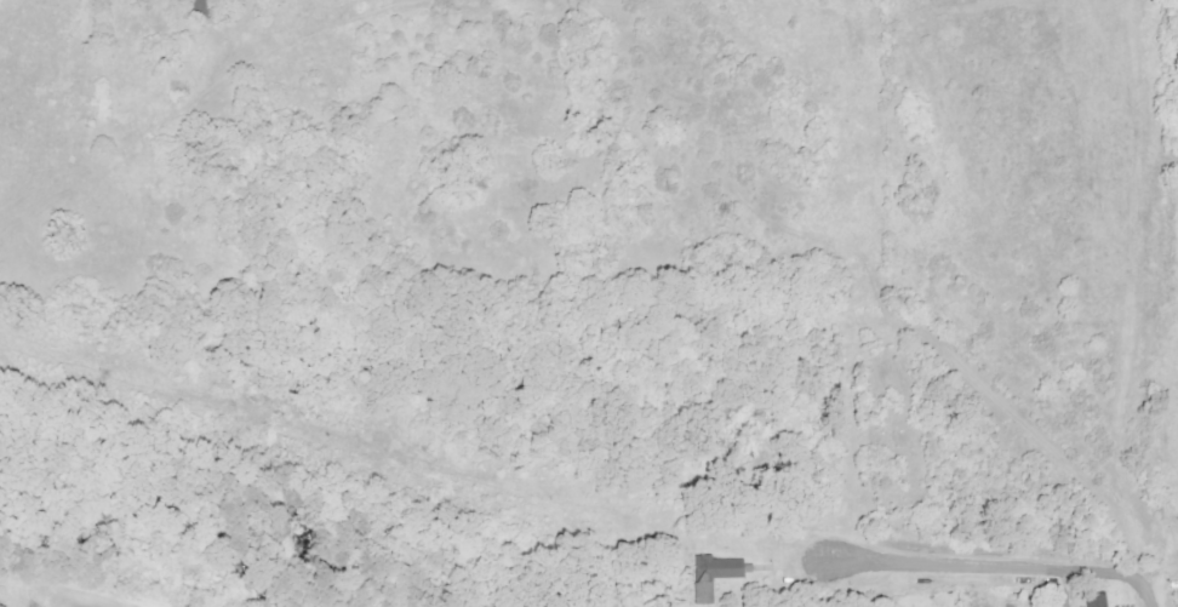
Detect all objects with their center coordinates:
road: (938, 562)
building: (711, 575)
road: (1145, 592)

